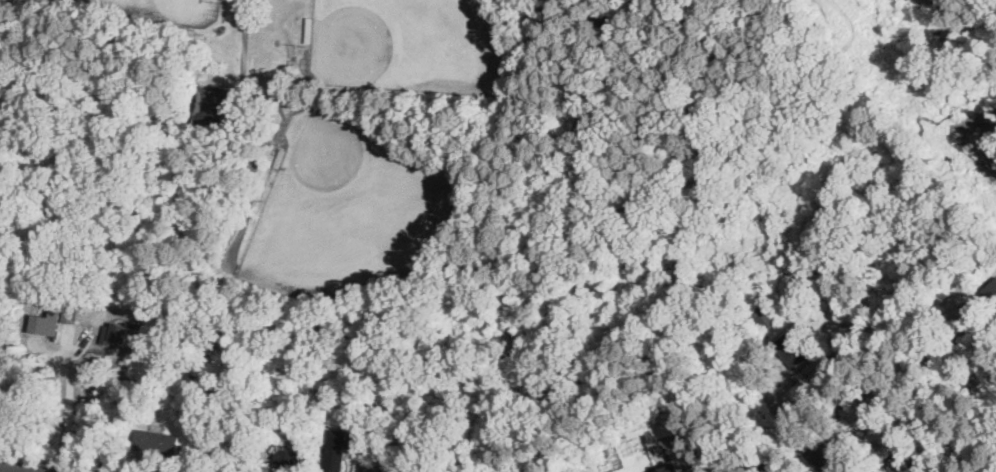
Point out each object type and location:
building: (895, 0)
park: (159, 10)
building: (310, 31)
building: (931, 34)
park: (412, 44)
road: (245, 62)
building: (362, 90)
building: (212, 106)
building: (359, 124)
park: (183, 132)
building: (279, 159)
park: (353, 214)
park: (471, 214)
building: (991, 292)
building: (965, 306)
building: (764, 316)
building: (978, 320)
building: (45, 322)
building: (116, 334)
road: (80, 345)
building: (790, 351)
road: (69, 372)
building: (821, 374)
road: (817, 384)
building: (863, 407)
building: (683, 421)
road: (68, 424)
building: (295, 428)
road: (805, 442)
building: (158, 443)
building: (211, 444)
building: (932, 447)
building: (246, 448)
building: (337, 449)
road: (68, 452)
building: (607, 452)
building: (289, 459)
road: (778, 461)
road: (58, 462)
building: (900, 464)
building: (375, 468)
road: (705, 468)
road: (14, 469)
building: (669, 469)
building: (947, 469)

